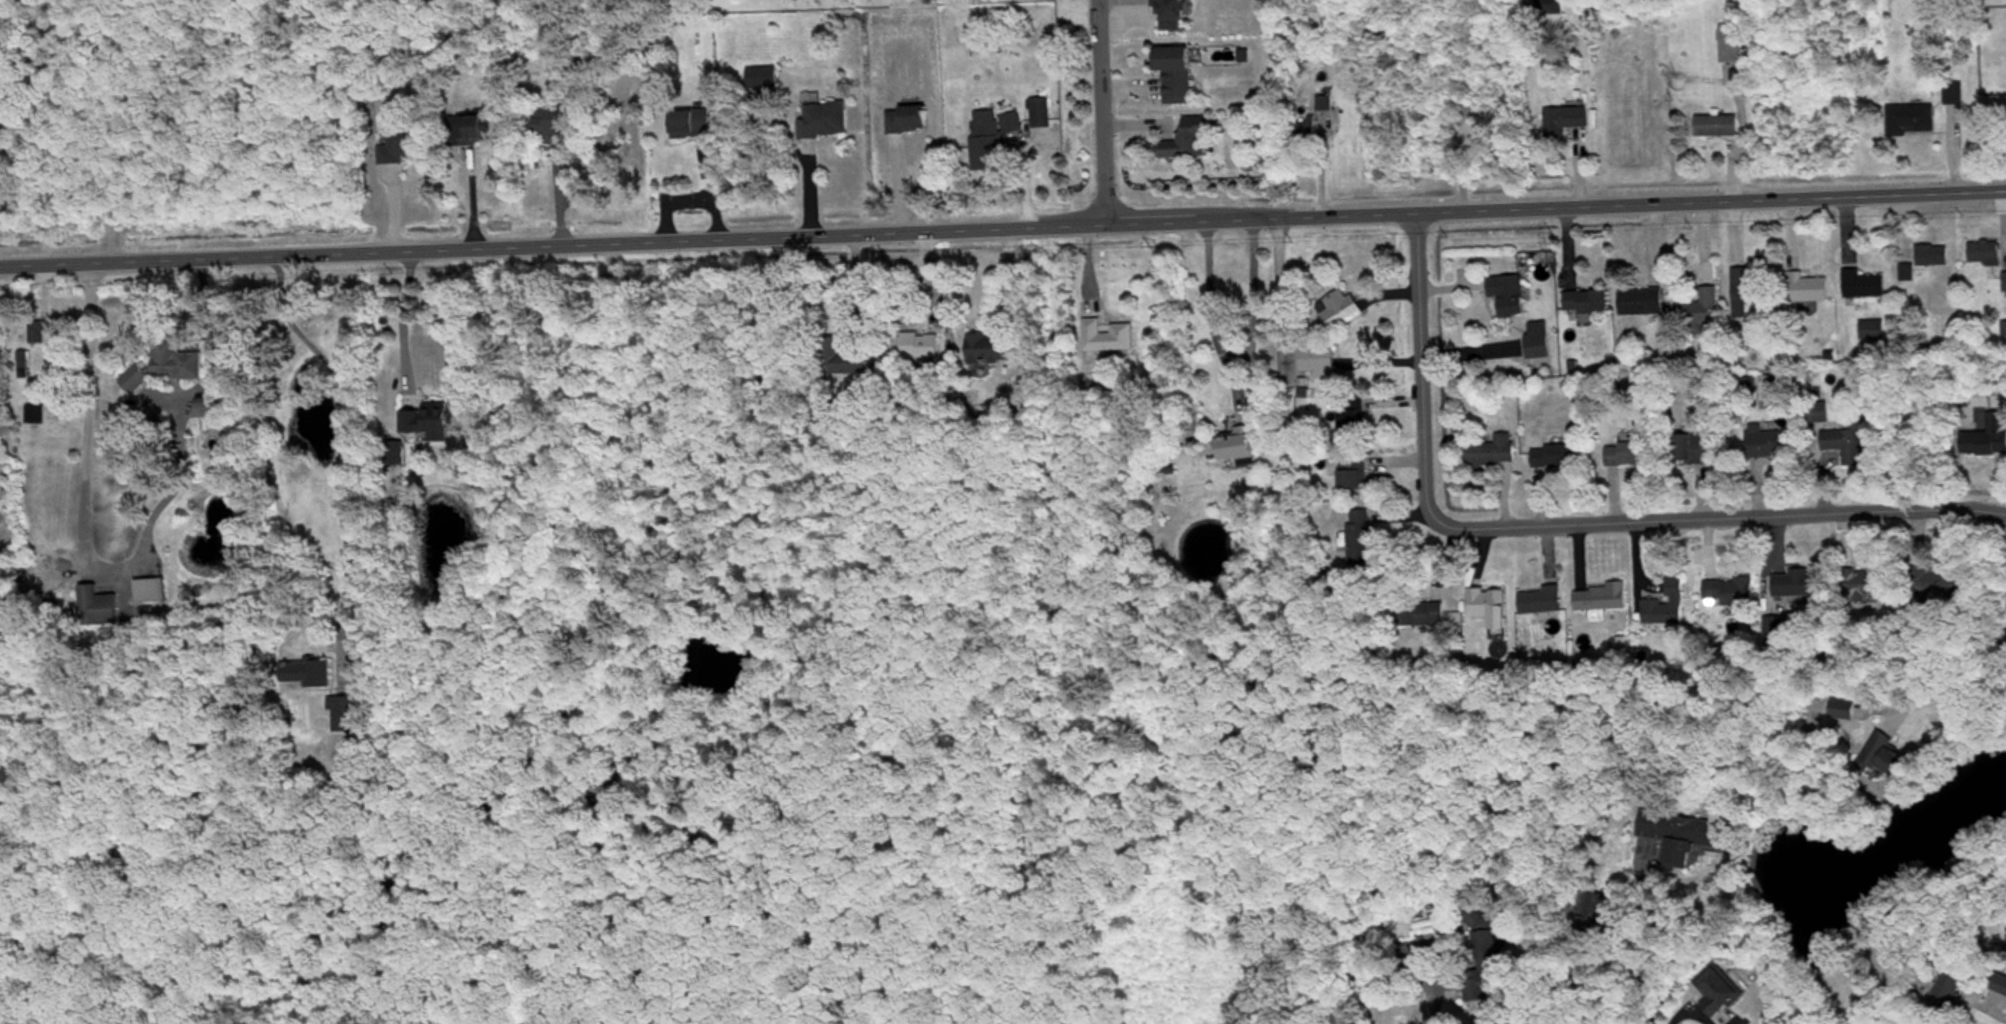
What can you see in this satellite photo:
building: (1552, 9)
building: (1173, 15)
building: (1734, 46)
building: (1178, 76)
building: (763, 79)
building: (1956, 95)
building: (1327, 106)
road: (1097, 110)
building: (1913, 121)
building: (826, 122)
building: (910, 122)
building: (1566, 122)
building: (694, 126)
building: (553, 127)
building: (1718, 128)
building: (477, 131)
building: (1309, 131)
building: (992, 140)
building: (1190, 141)
building: (401, 142)
road: (1002, 224)
building: (1987, 255)
building: (1934, 258)
building: (1866, 287)
road: (1281, 288)
building: (1777, 293)
road: (1253, 297)
building: (1511, 297)
building: (1590, 304)
building: (1644, 304)
building: (1702, 311)
building: (1342, 312)
road: (1213, 316)
building: (2004, 331)
building: (1875, 332)
building: (1110, 339)
building: (1541, 342)
building: (917, 347)
building: (992, 351)
building: (1319, 364)
building: (847, 365)
road: (1417, 366)
building: (167, 367)
building: (212, 405)
building: (1824, 414)
building: (1354, 416)
building: (428, 421)
building: (1987, 440)
building: (1774, 444)
building: (1850, 444)
building: (1240, 446)
building: (1697, 451)
building: (1491, 453)
building: (1631, 456)
building: (1563, 458)
building: (1356, 474)
road: (1718, 524)
building: (1362, 538)
building: (1945, 584)
building: (1800, 585)
building: (1867, 585)
building: (152, 593)
building: (1734, 593)
building: (1605, 599)
building: (1544, 603)
building: (1669, 607)
building: (98, 609)
building: (1497, 613)
building: (1431, 616)
building: (1777, 627)
building: (311, 675)
building: (1846, 712)
building: (345, 716)
building: (1887, 757)
road: (1723, 780)
building: (1686, 839)
building: (1958, 864)
building: (1597, 913)
building: (1487, 962)
building: (1999, 985)
building: (1951, 992)
building: (1720, 996)

